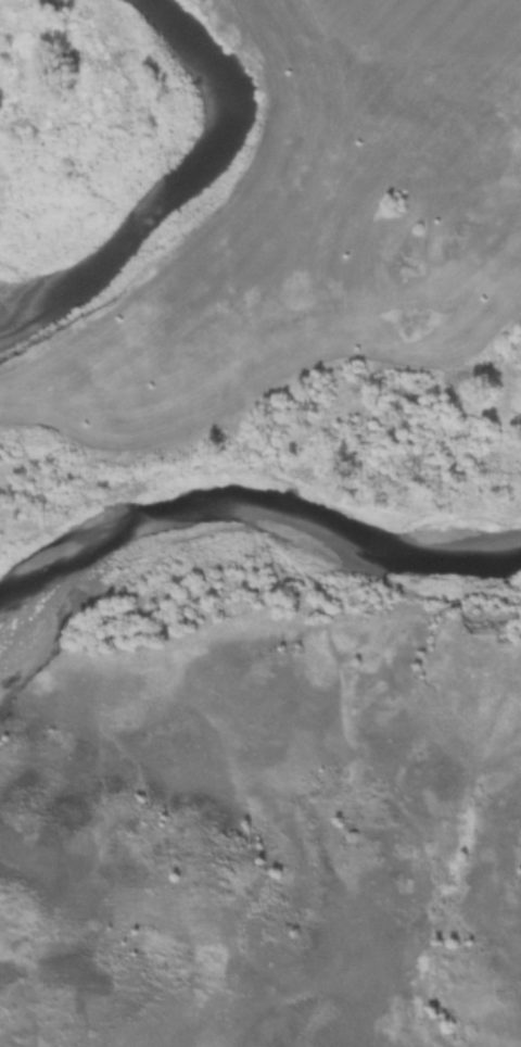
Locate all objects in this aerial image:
river: (175, 177)
river: (247, 508)

